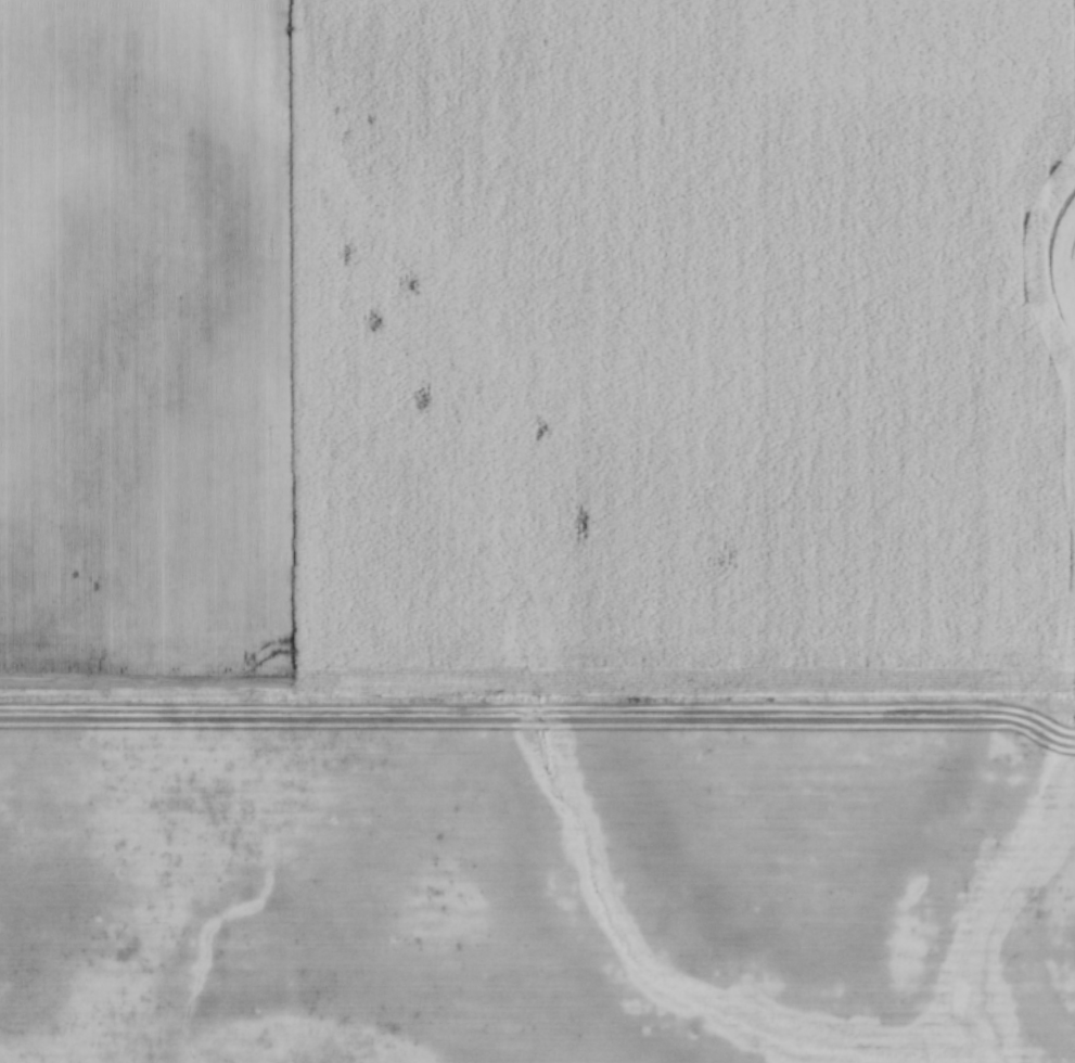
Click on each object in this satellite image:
crop: (142, 343)

